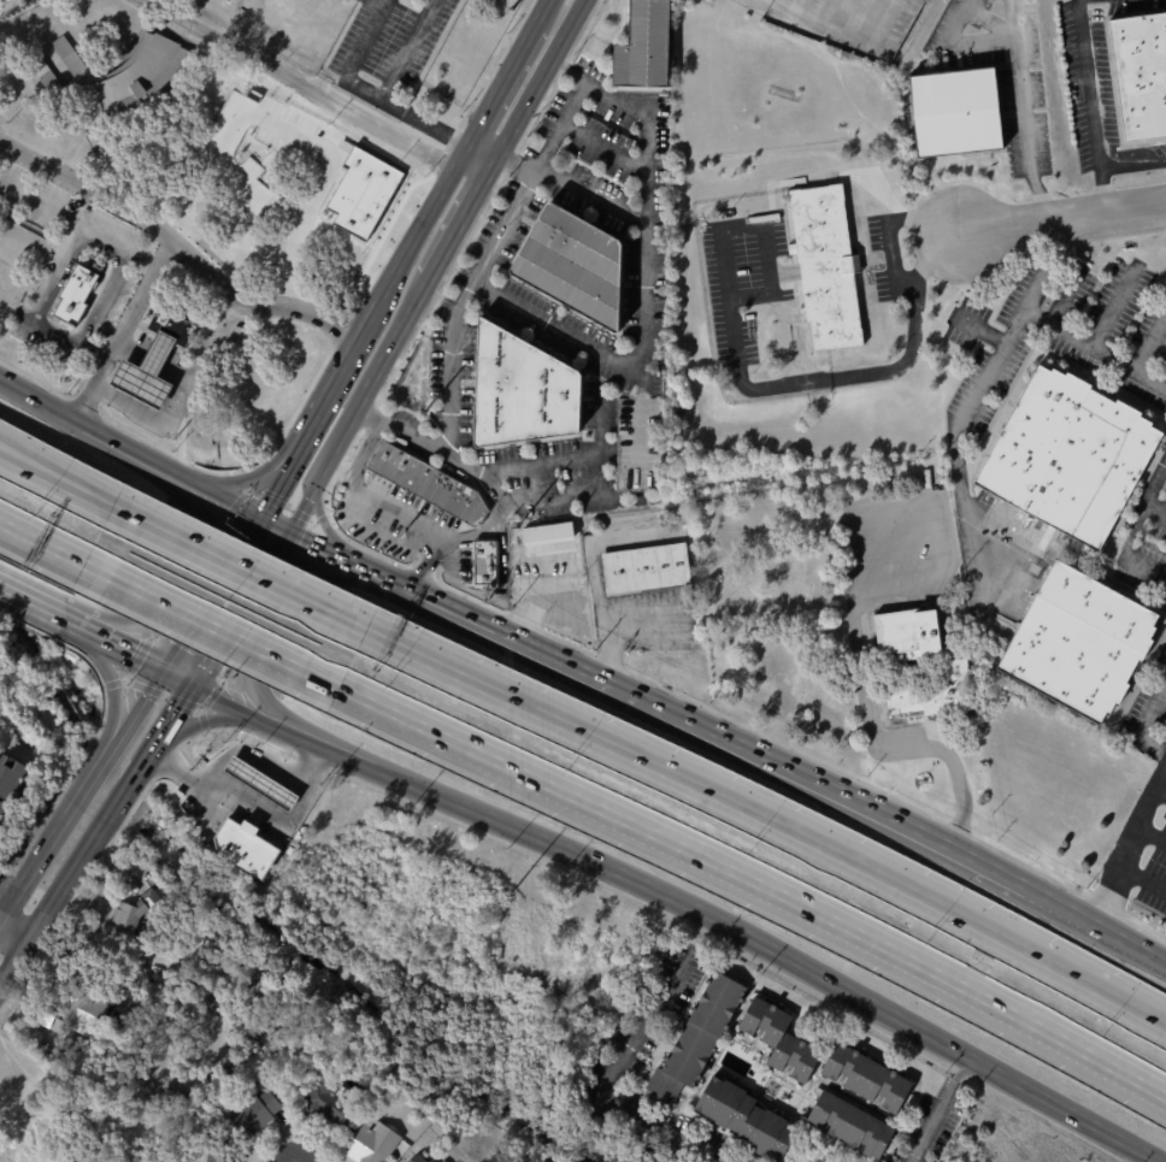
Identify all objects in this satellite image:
road: (764, 2)
road: (541, 12)
road: (1017, 19)
road: (829, 26)
road: (956, 43)
building: (648, 47)
road: (411, 49)
building: (132, 73)
building: (1141, 75)
road: (541, 76)
building: (51, 81)
road: (298, 83)
road: (584, 83)
road: (366, 88)
road: (494, 95)
road: (1093, 106)
road: (636, 111)
building: (956, 112)
road: (1026, 131)
road: (481, 149)
road: (516, 161)
road: (590, 199)
building: (731, 213)
road: (463, 214)
building: (713, 217)
road: (1062, 218)
road: (76, 220)
road: (416, 234)
road: (187, 247)
road: (890, 254)
building: (576, 265)
building: (829, 266)
road: (472, 284)
road: (1060, 293)
building: (79, 294)
road: (1114, 305)
road: (120, 326)
road: (978, 326)
road: (396, 334)
road: (53, 336)
road: (1077, 338)
road: (93, 348)
road: (1141, 354)
road: (738, 358)
building: (157, 362)
road: (334, 377)
road: (5, 381)
building: (525, 391)
road: (972, 393)
road: (43, 402)
road: (183, 411)
road: (450, 424)
road: (641, 427)
road: (125, 450)
road: (554, 456)
building: (1068, 456)
road: (325, 461)
road: (60, 467)
road: (60, 474)
building: (926, 478)
road: (242, 479)
building: (428, 480)
road: (272, 488)
road: (366, 490)
road: (1146, 492)
road: (213, 499)
road: (553, 499)
building: (382, 519)
traffic signals: (254, 520)
road: (325, 526)
road: (270, 527)
road: (463, 535)
building: (561, 535)
traffic signals: (285, 536)
building: (530, 539)
road: (594, 539)
road: (43, 541)
road: (317, 550)
building: (490, 562)
road: (243, 565)
road: (1143, 565)
building: (647, 570)
road: (359, 571)
road: (173, 576)
road: (207, 597)
road: (534, 607)
road: (43, 608)
road: (238, 612)
road: (611, 621)
road: (279, 624)
road: (479, 625)
road: (211, 626)
building: (1077, 643)
road: (124, 651)
traffic signals: (161, 674)
building: (961, 674)
road: (177, 680)
traffic signals: (193, 688)
road: (113, 690)
road: (236, 707)
road: (177, 713)
road: (868, 714)
road: (132, 715)
road: (206, 718)
road: (1142, 724)
road: (158, 744)
flagpole: (926, 775)
flagpole: (923, 777)
road: (813, 779)
building: (260, 781)
building: (13, 786)
road: (1160, 790)
road: (738, 802)
road: (264, 816)
road: (60, 825)
road: (1150, 831)
road: (1125, 840)
road: (92, 848)
building: (251, 848)
road: (1139, 878)
road: (754, 884)
road: (8, 889)
road: (8, 907)
road: (1073, 909)
building: (136, 916)
road: (729, 928)
road: (14, 936)
building: (223, 937)
road: (1139, 946)
road: (16, 968)
building: (78, 1008)
road: (1135, 1010)
building: (785, 1039)
building: (702, 1040)
road: (609, 1067)
building: (871, 1077)
building: (331, 1102)
road: (942, 1109)
building: (255, 1114)
building: (752, 1121)
building: (856, 1121)
building: (376, 1143)
building: (225, 1156)
building: (423, 1156)
building: (435, 1161)
building: (447, 1161)

